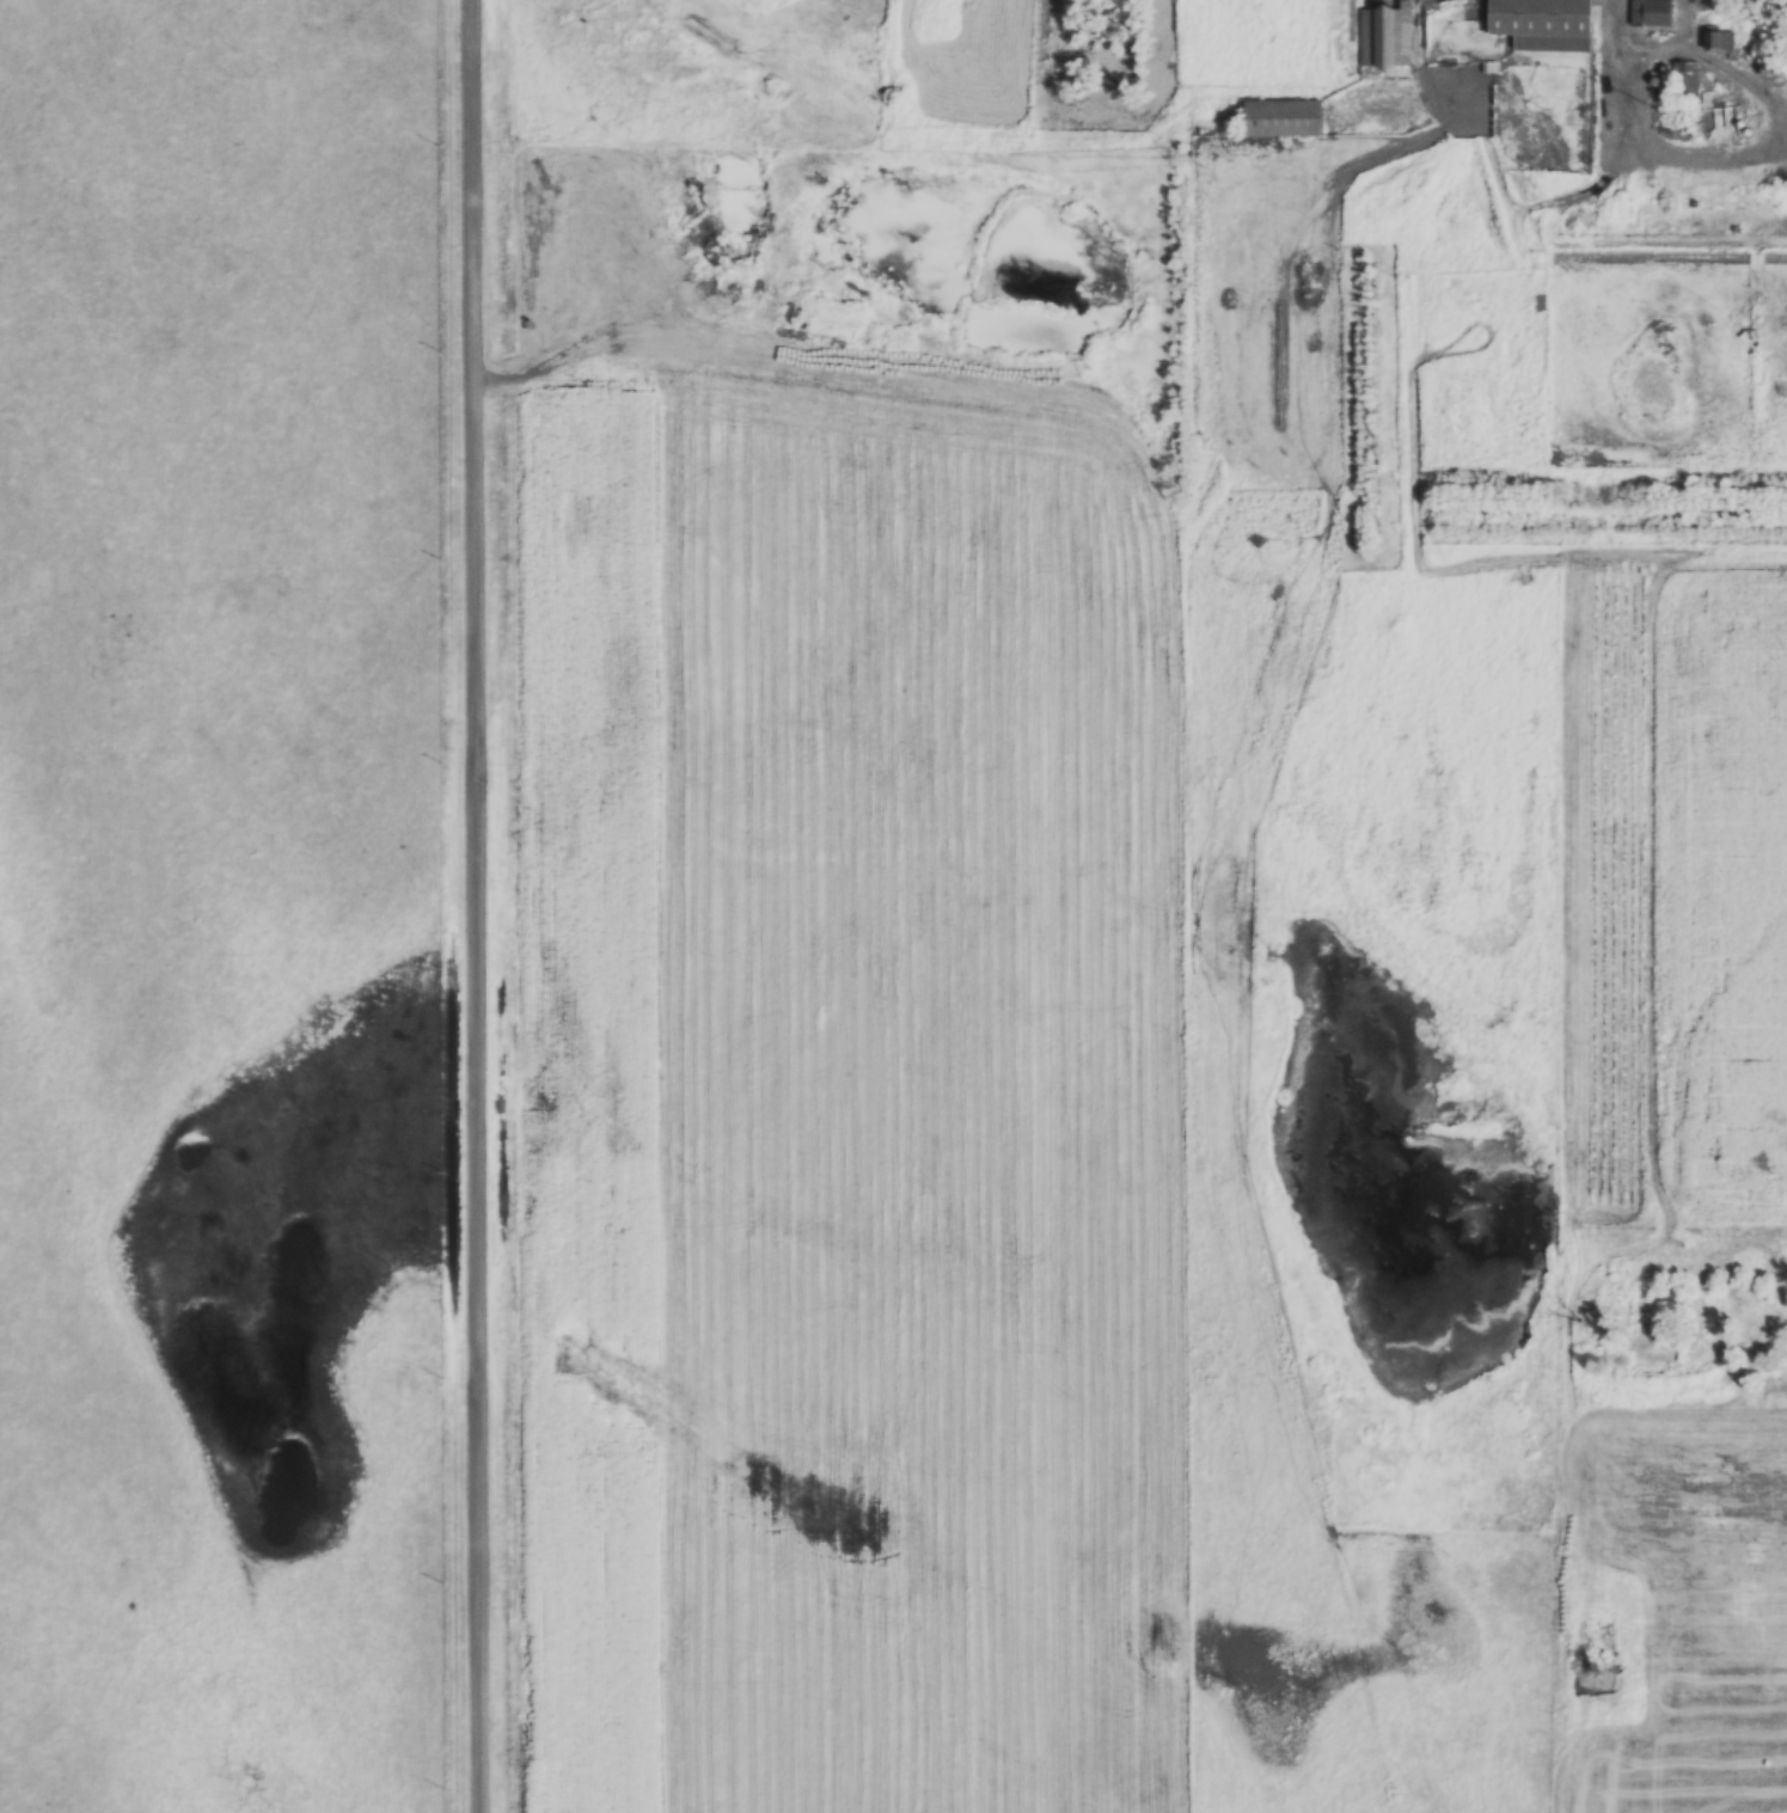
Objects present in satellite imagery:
building: (1651, 13)
building: (1544, 24)
building: (1383, 41)
building: (1716, 43)
building: (813, 45)
road: (1646, 49)
building: (1678, 81)
building: (1284, 118)
road: (1713, 152)
road: (477, 906)

